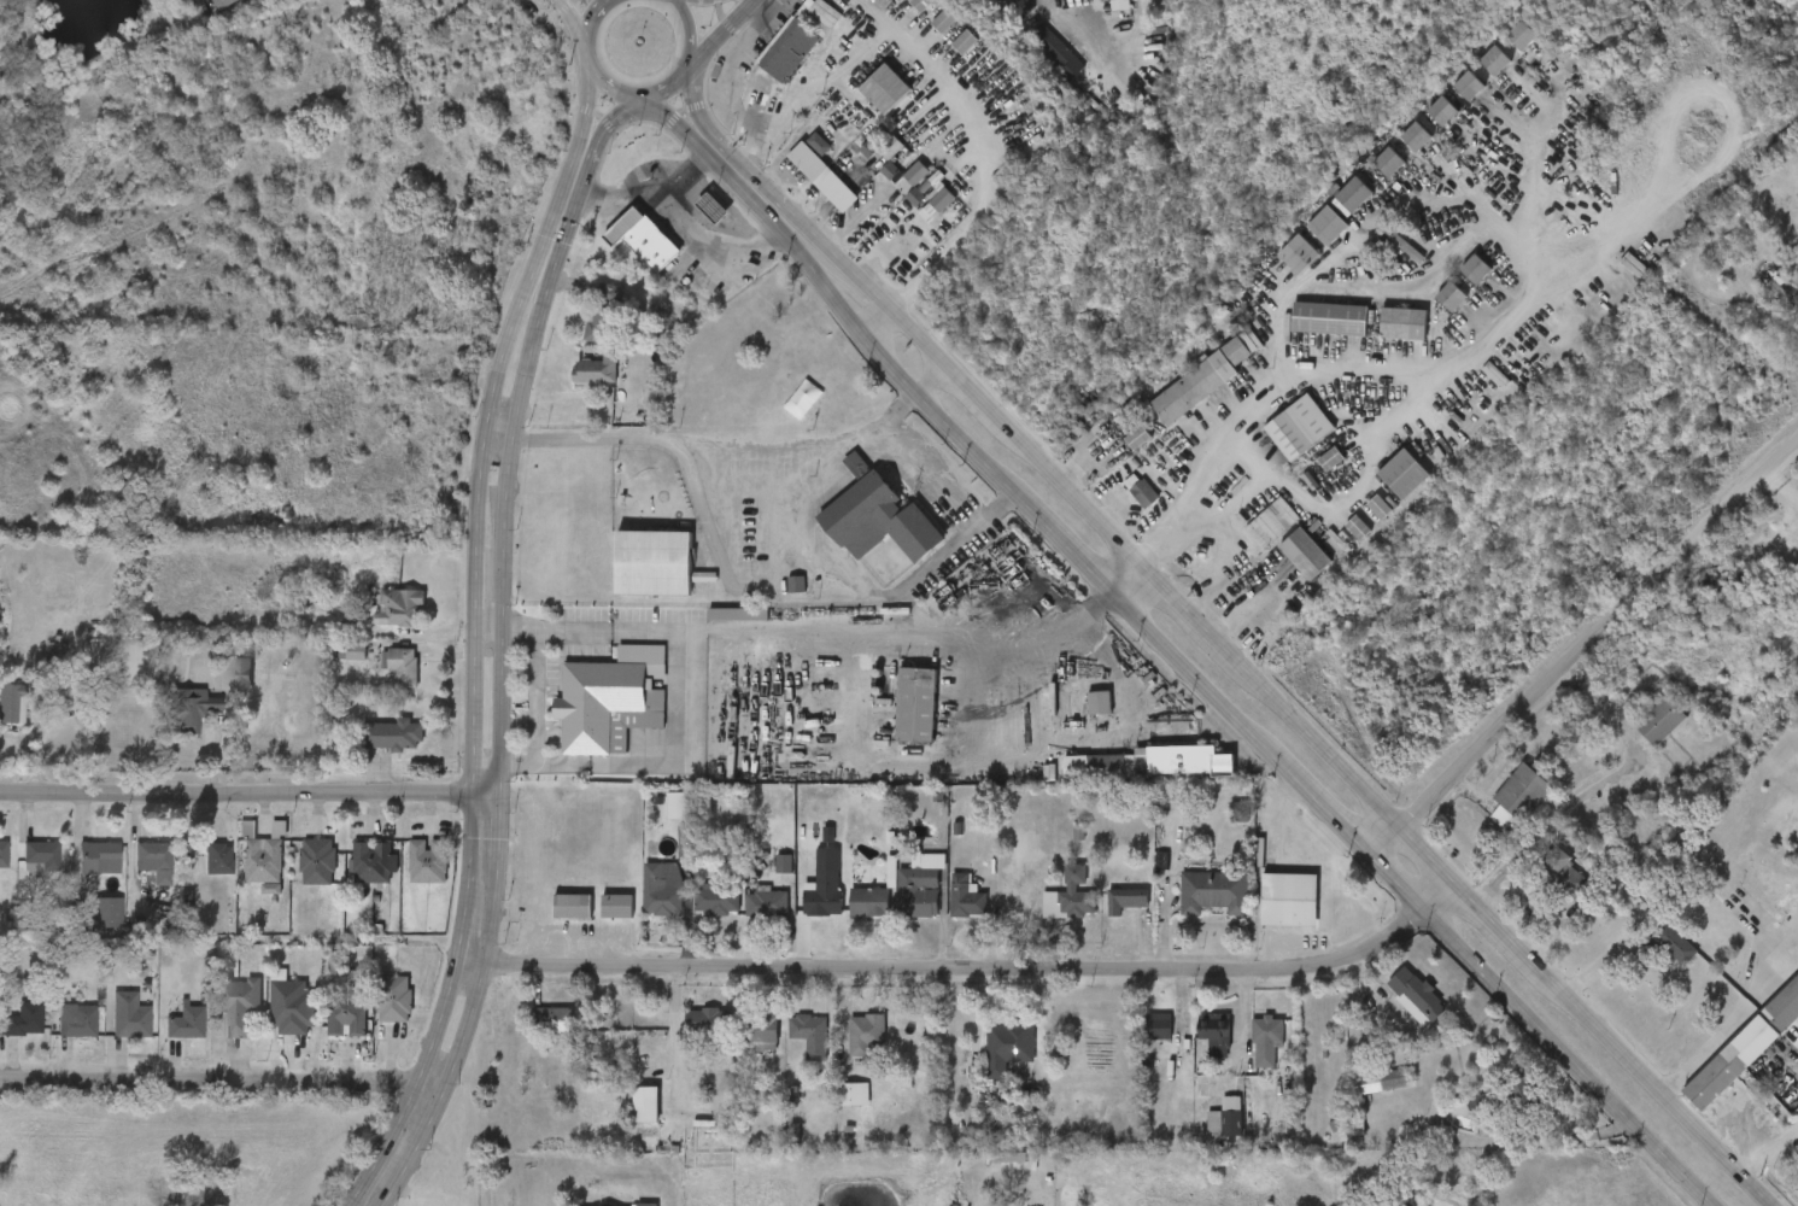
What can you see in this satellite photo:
building: (1067, 0)
building: (879, 2)
building: (223, 4)
building: (923, 4)
building: (1083, 7)
road: (575, 16)
building: (902, 17)
building: (945, 21)
road: (897, 27)
road: (693, 28)
road: (725, 31)
building: (1523, 35)
building: (796, 39)
building: (924, 39)
building: (966, 41)
building: (1060, 54)
building: (944, 59)
building: (1497, 59)
road: (592, 63)
building: (767, 66)
road: (690, 68)
building: (1035, 69)
building: (1469, 86)
road: (668, 87)
building: (886, 89)
building: (865, 106)
building: (751, 109)
building: (1443, 111)
building: (1416, 137)
road: (730, 150)
road: (595, 162)
building: (1389, 162)
building: (871, 165)
road: (692, 172)
building: (916, 174)
building: (821, 177)
road: (1525, 178)
building: (1367, 180)
building: (868, 188)
building: (896, 191)
building: (802, 194)
building: (1354, 195)
building: (943, 200)
road: (689, 204)
building: (1333, 212)
building: (894, 215)
road: (1378, 215)
building: (916, 221)
building: (692, 226)
building: (1329, 226)
road: (960, 232)
building: (651, 247)
building: (1300, 254)
building: (622, 257)
building: (1386, 265)
building: (1636, 267)
building: (1476, 269)
building: (1278, 271)
building: (1780, 286)
building: (1451, 297)
road: (520, 298)
building: (1755, 300)
building: (1430, 314)
building: (1330, 318)
building: (1404, 323)
building: (582, 332)
building: (1308, 336)
road: (534, 341)
building: (1383, 341)
building: (1495, 375)
building: (1200, 381)
building: (574, 390)
road: (962, 402)
road: (1423, 406)
road: (1242, 415)
building: (1299, 427)
road: (497, 443)
road: (843, 445)
building: (1118, 455)
building: (1406, 473)
building: (1310, 476)
building: (1796, 486)
road: (1780, 490)
building: (1382, 491)
building: (1143, 494)
building: (1119, 508)
road: (784, 511)
building: (879, 516)
building: (1269, 525)
building: (1360, 528)
building: (857, 534)
building: (1337, 545)
building: (1308, 555)
building: (654, 563)
building: (1284, 570)
road: (476, 589)
building: (775, 601)
road: (1251, 611)
road: (503, 621)
building: (379, 625)
road: (490, 626)
road: (572, 630)
building: (718, 631)
road: (874, 634)
road: (1046, 639)
road: (1585, 649)
road: (1172, 656)
building: (36, 668)
building: (330, 668)
building: (381, 683)
road: (537, 697)
building: (1100, 703)
building: (605, 707)
building: (916, 707)
road: (1285, 708)
building: (1, 720)
building: (1078, 720)
building: (896, 721)
building: (1659, 721)
building: (170, 725)
road: (683, 731)
building: (1639, 738)
road: (1065, 748)
building: (371, 753)
building: (1183, 761)
road: (473, 767)
building: (1142, 779)
road: (248, 794)
building: (1522, 796)
building: (1499, 812)
building: (1238, 813)
building: (656, 822)
building: (1217, 829)
road: (497, 836)
building: (4, 855)
building: (153, 856)
building: (41, 857)
building: (100, 859)
building: (219, 860)
building: (262, 861)
building: (373, 862)
building: (428, 862)
building: (316, 863)
building: (241, 872)
building: (21, 873)
building: (1565, 873)
building: (78, 874)
building: (198, 876)
building: (135, 877)
building: (353, 878)
building: (408, 878)
building: (295, 879)
building: (762, 880)
building: (921, 886)
building: (1542, 888)
building: (662, 889)
building: (1214, 892)
building: (824, 895)
building: (1763, 895)
building: (1071, 897)
building: (966, 898)
building: (716, 900)
building: (869, 901)
building: (1126, 901)
building: (1290, 901)
building: (766, 903)
building: (900, 903)
building: (250, 906)
building: (642, 906)
building: (574, 907)
building: (616, 907)
building: (1194, 909)
building: (1741, 911)
building: (803, 912)
building: (1049, 913)
building: (106, 914)
building: (945, 914)
building: (697, 915)
building: (1106, 917)
building: (1269, 917)
building: (847, 918)
building: (746, 920)
building: (551, 923)
building: (596, 923)
building: (86, 929)
road: (463, 938)
building: (1675, 946)
building: (1653, 960)
road: (968, 970)
building: (1776, 972)
building: (1419, 995)
building: (393, 1000)
building: (1784, 1007)
building: (240, 1008)
building: (292, 1009)
building: (1395, 1013)
building: (374, 1015)
building: (346, 1017)
road: (1730, 1018)
building: (551, 1020)
building: (24, 1021)
building: (77, 1023)
building: (133, 1023)
building: (221, 1023)
building: (187, 1024)
building: (271, 1024)
building: (709, 1025)
building: (1156, 1025)
building: (759, 1029)
building: (110, 1032)
building: (327, 1034)
building: (809, 1034)
building: (10, 1035)
building: (867, 1036)
building: (531, 1037)
building: (686, 1037)
building: (1217, 1037)
building: (59, 1038)
road: (675, 1038)
building: (165, 1040)
building: (1266, 1041)
building: (1138, 1043)
building: (742, 1046)
road: (462, 1047)
building: (1003, 1047)
building: (845, 1050)
building: (1194, 1050)
building: (790, 1052)
building: (1246, 1058)
building: (1730, 1064)
road: (222, 1083)
building: (1380, 1083)
road: (416, 1090)
building: (854, 1094)
building: (1361, 1097)
building: (646, 1105)
building: (1500, 1110)
building: (833, 1111)
building: (1226, 1119)
building: (625, 1122)
building: (1205, 1135)
road: (1769, 1151)
building: (645, 1205)

